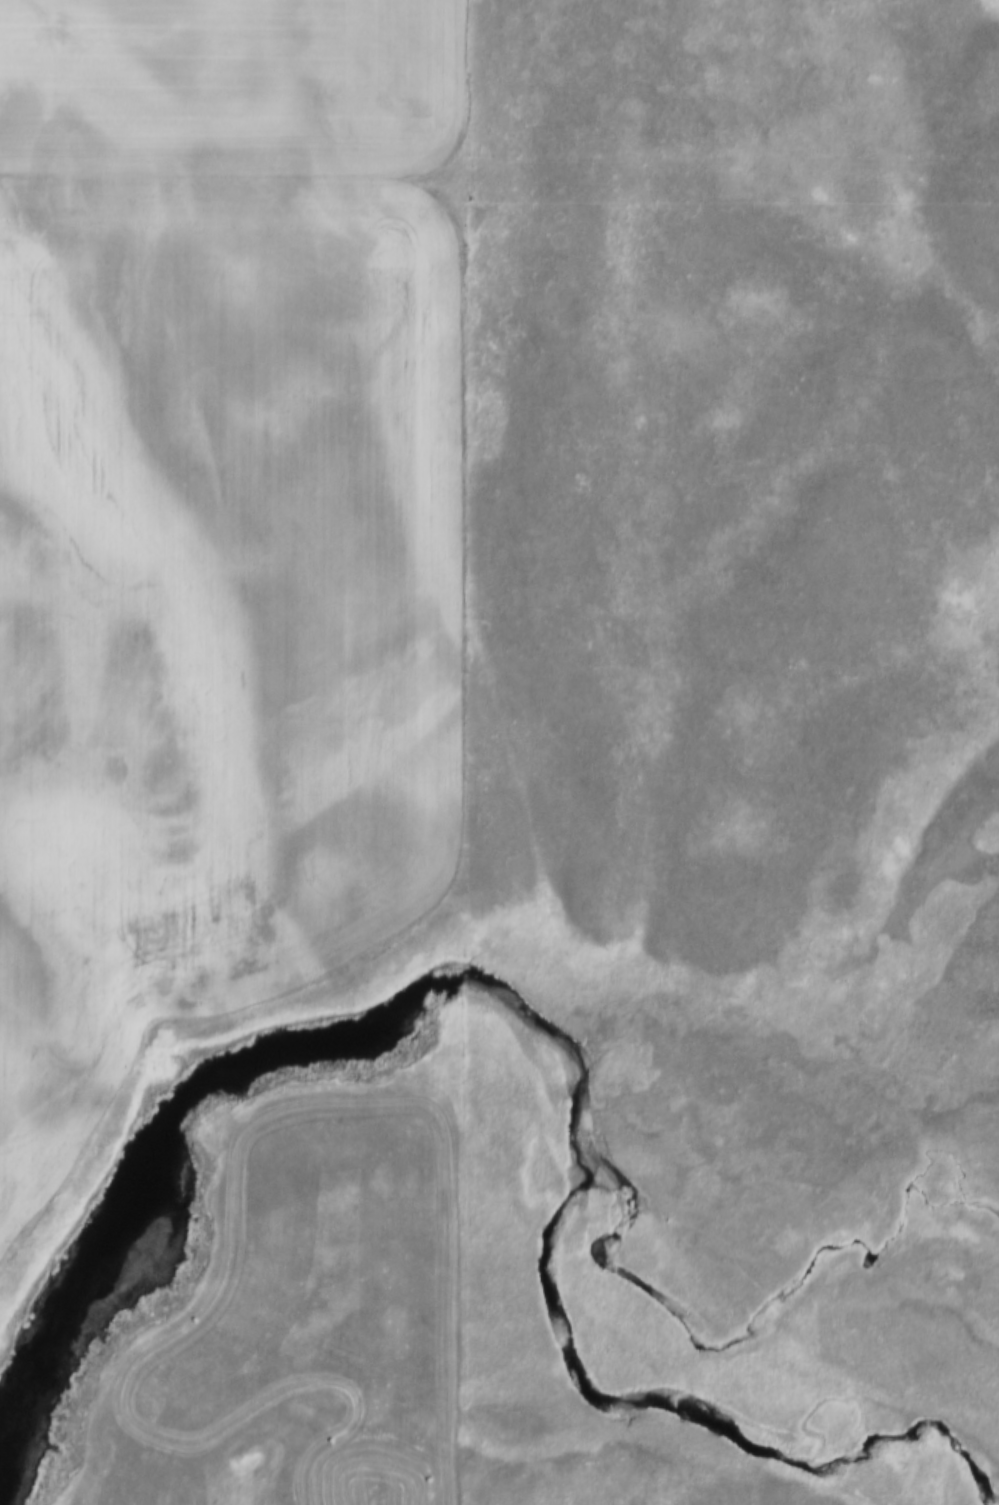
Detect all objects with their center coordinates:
road: (233, 182)

